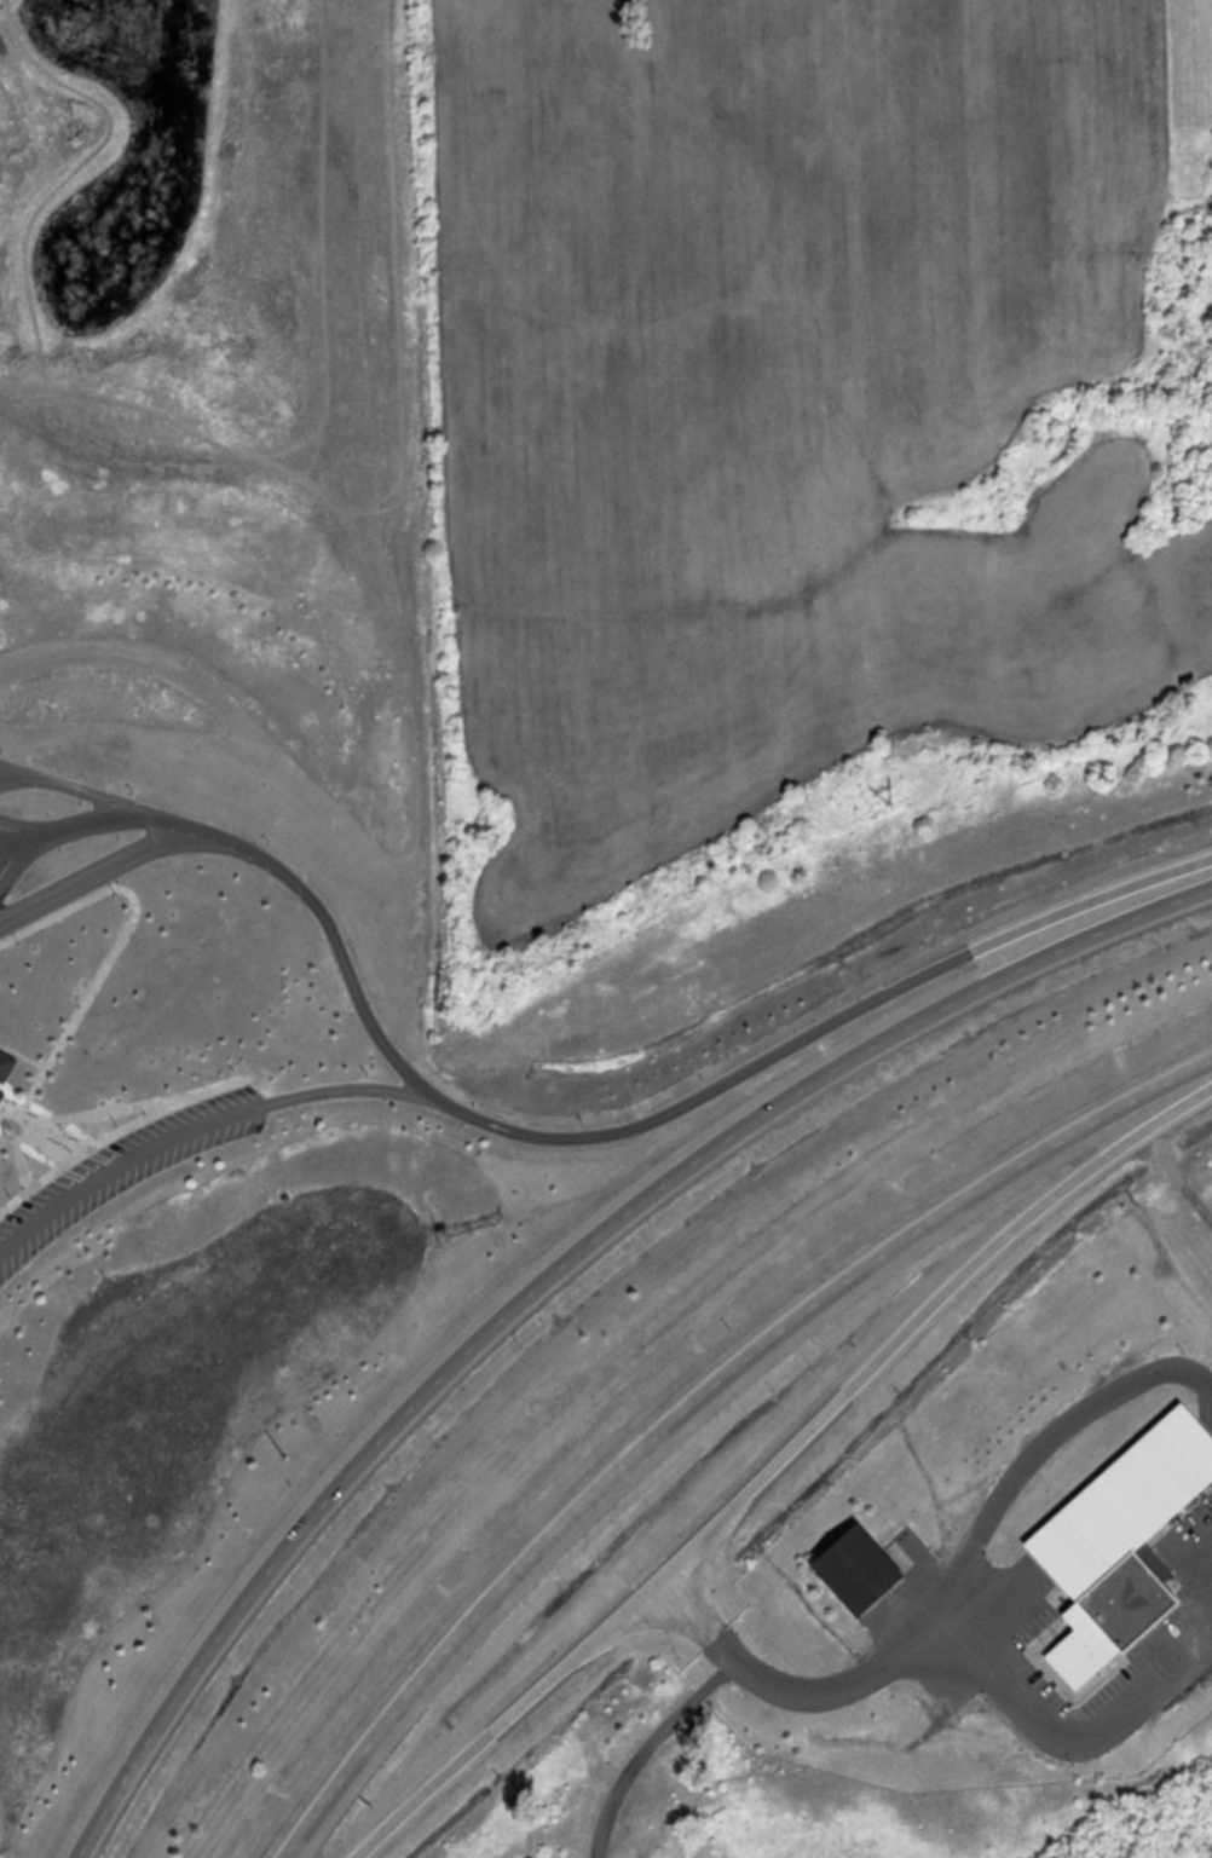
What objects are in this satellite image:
road: (13, 771)
road: (68, 789)
road: (271, 867)
parking lot: (4, 869)
road: (98, 871)
road: (112, 958)
road: (821, 1033)
building: (6, 1056)
building: (1, 1083)
road: (106, 1112)
road: (40, 1127)
road: (200, 1131)
road: (115, 1135)
road: (18, 1158)
parking lot: (126, 1173)
road: (555, 1268)
road: (693, 1396)
road: (783, 1464)
building: (1126, 1547)
building: (865, 1571)
road: (795, 1687)

